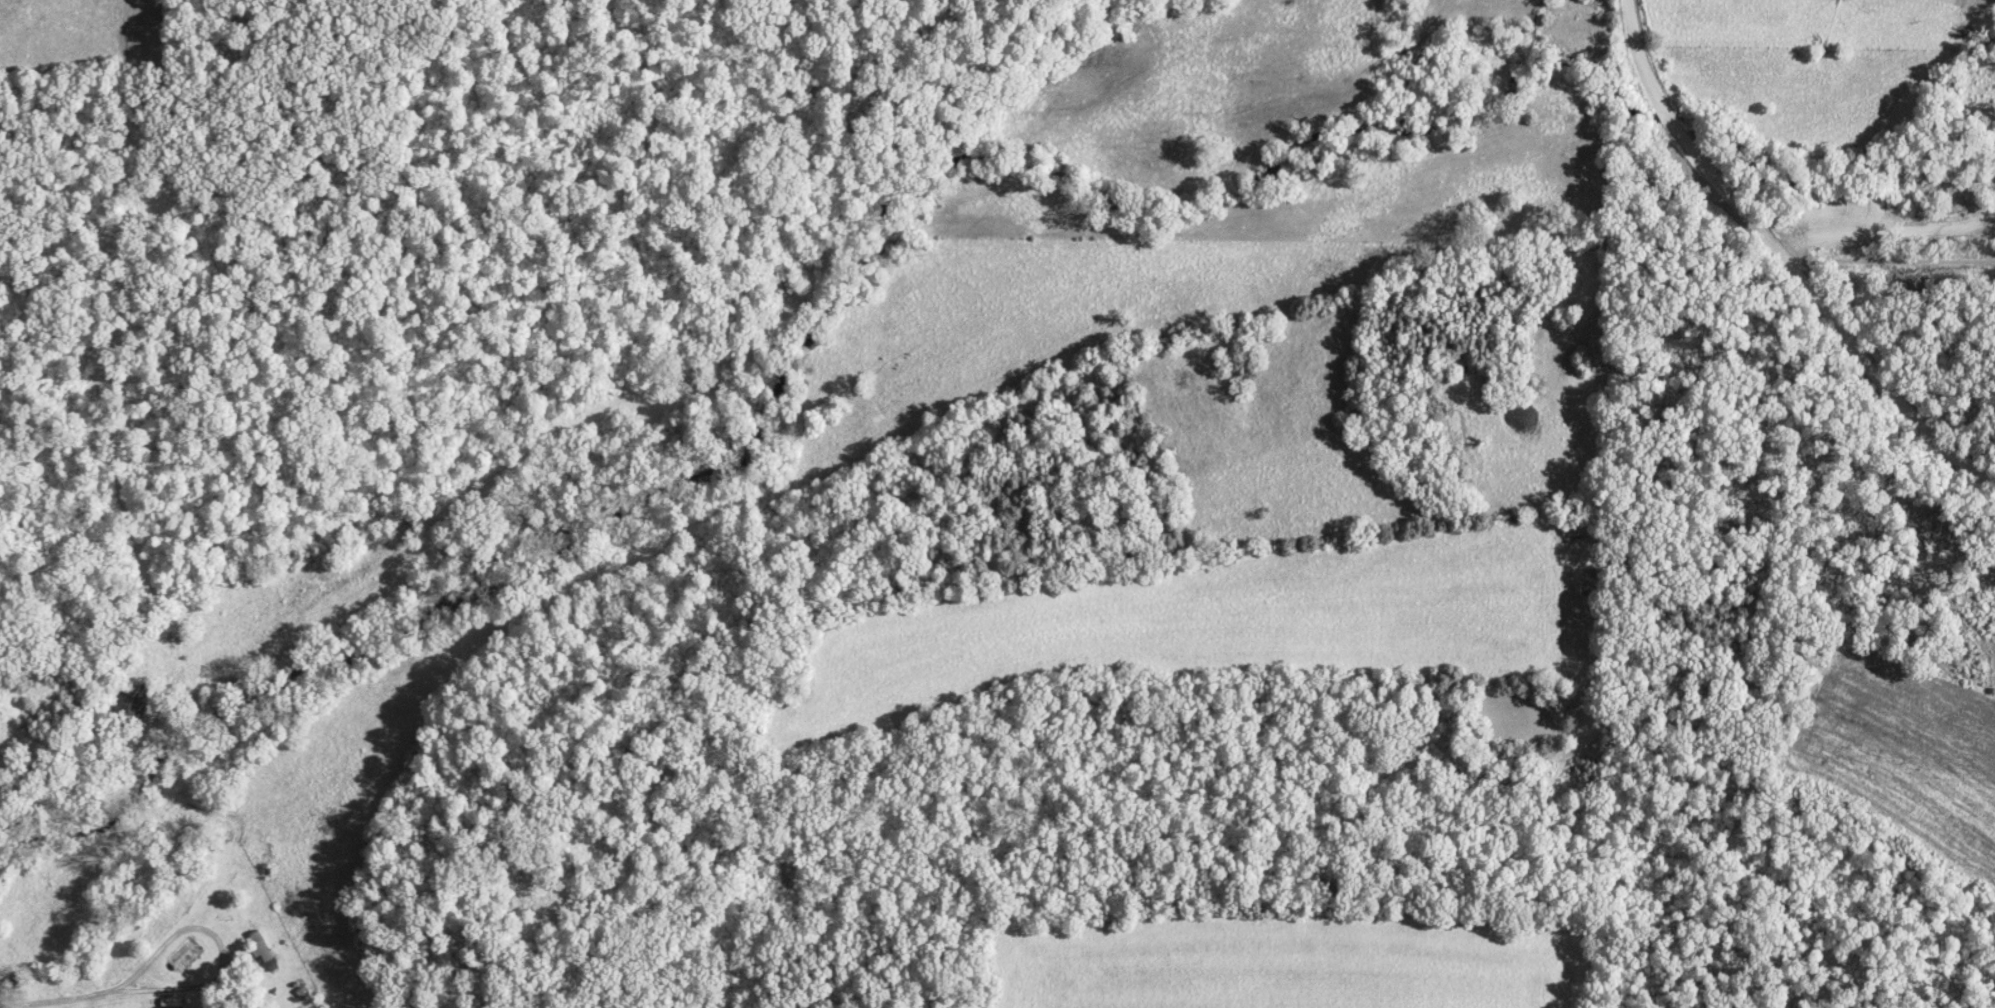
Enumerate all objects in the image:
road: (1992, 2)
road: (1894, 231)
road: (1782, 263)
road: (194, 911)
building: (260, 950)
road: (200, 984)

